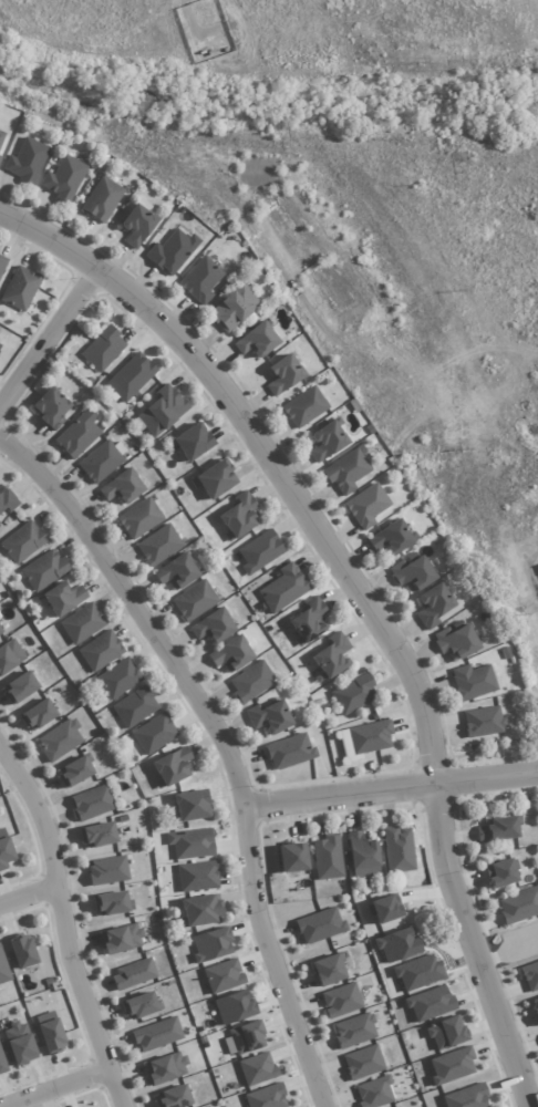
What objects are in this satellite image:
building: (0, 135)
building: (0, 158)
building: (27, 161)
building: (63, 178)
building: (102, 199)
building: (136, 225)
building: (172, 251)
building: (2, 263)
building: (200, 279)
building: (20, 288)
building: (234, 308)
road: (50, 338)
building: (256, 340)
building: (103, 349)
building: (283, 374)
building: (131, 376)
building: (304, 406)
building: (50, 407)
building: (163, 410)
building: (77, 434)
building: (328, 439)
building: (193, 441)
building: (100, 462)
building: (346, 472)
building: (214, 479)
building: (121, 487)
building: (7, 500)
building: (366, 505)
building: (239, 515)
building: (139, 518)
building: (390, 538)
building: (22, 541)
building: (158, 545)
building: (259, 551)
building: (43, 570)
building: (176, 571)
building: (412, 573)
building: (283, 588)
building: (62, 598)
building: (194, 600)
road: (364, 600)
building: (433, 606)
building: (309, 620)
building: (81, 623)
building: (213, 625)
building: (0, 630)
building: (0, 632)
building: (455, 641)
building: (100, 651)
building: (9, 654)
building: (230, 654)
building: (331, 655)
building: (117, 679)
building: (472, 681)
building: (251, 682)
building: (19, 687)
building: (353, 694)
building: (135, 706)
building: (37, 715)
building: (268, 717)
building: (483, 722)
building: (154, 733)
building: (369, 736)
building: (59, 739)
road: (224, 744)
building: (289, 752)
building: (172, 766)
building: (74, 770)
road: (391, 788)
building: (91, 803)
building: (190, 805)
building: (497, 829)
building: (97, 835)
building: (190, 844)
building: (4, 849)
building: (397, 849)
building: (362, 856)
building: (292, 857)
building: (328, 857)
building: (107, 870)
building: (499, 873)
building: (197, 876)
road: (28, 894)
building: (112, 903)
building: (518, 904)
building: (200, 910)
building: (319, 925)
road: (61, 927)
building: (121, 939)
building: (210, 944)
building: (21, 951)
building: (328, 969)
building: (3, 970)
building: (133, 974)
building: (223, 975)
building: (530, 975)
building: (340, 1000)
building: (430, 1003)
building: (141, 1005)
building: (536, 1005)
building: (232, 1006)
building: (354, 1031)
building: (50, 1032)
building: (445, 1032)
building: (156, 1034)
building: (246, 1037)
building: (20, 1043)
building: (362, 1062)
building: (2, 1063)
building: (452, 1065)
building: (165, 1068)
building: (257, 1068)
road: (53, 1082)
building: (374, 1092)
building: (173, 1097)
building: (266, 1097)
building: (466, 1097)

